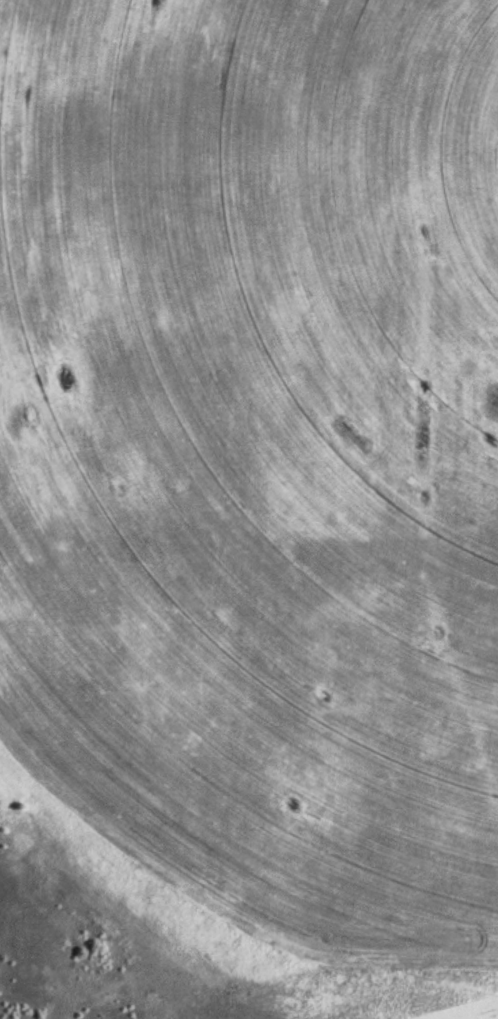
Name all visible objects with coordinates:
wastewater plant: (249, 509)
crop: (373, 996)

